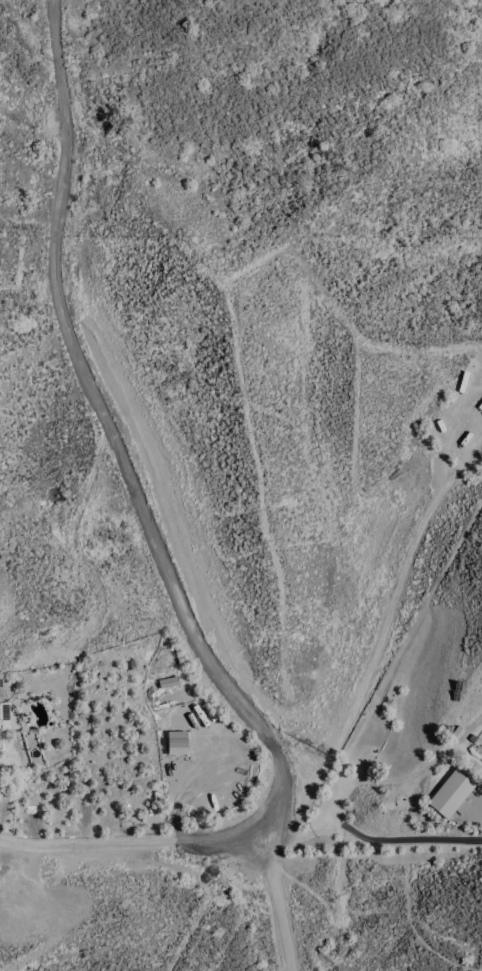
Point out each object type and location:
road: (137, 497)
building: (169, 681)
building: (390, 696)
building: (4, 717)
road: (473, 727)
building: (452, 730)
building: (453, 792)
road: (479, 798)
road: (134, 839)
road: (371, 839)

